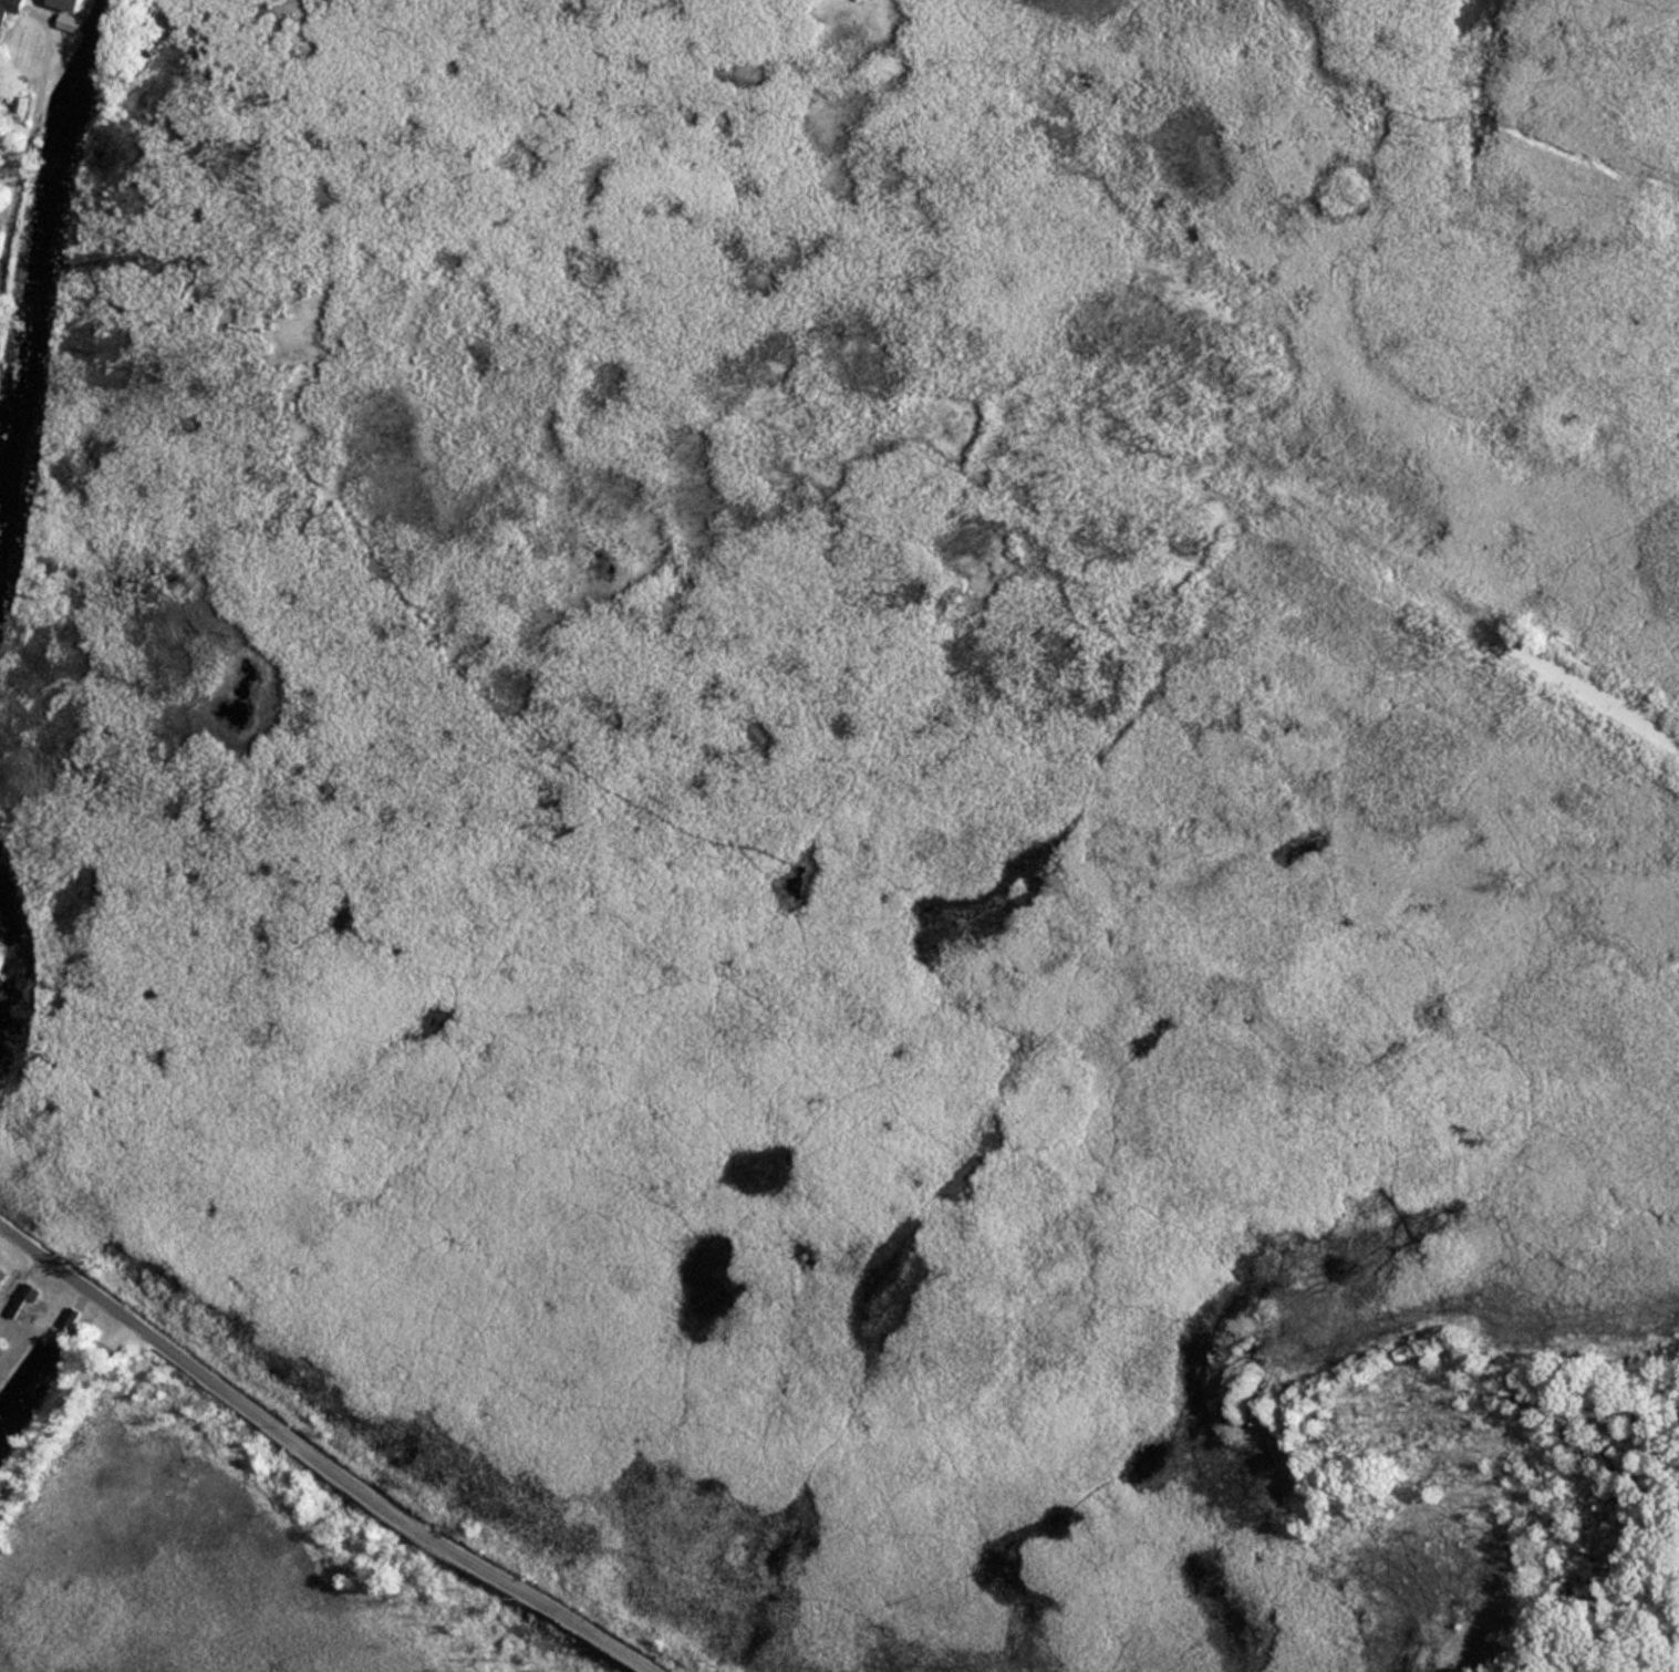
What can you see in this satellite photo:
building: (66, 3)
building: (9, 8)
building: (68, 27)
road: (21, 168)
building: (2, 1276)
building: (24, 1298)
road: (62, 1410)
road: (318, 1458)

